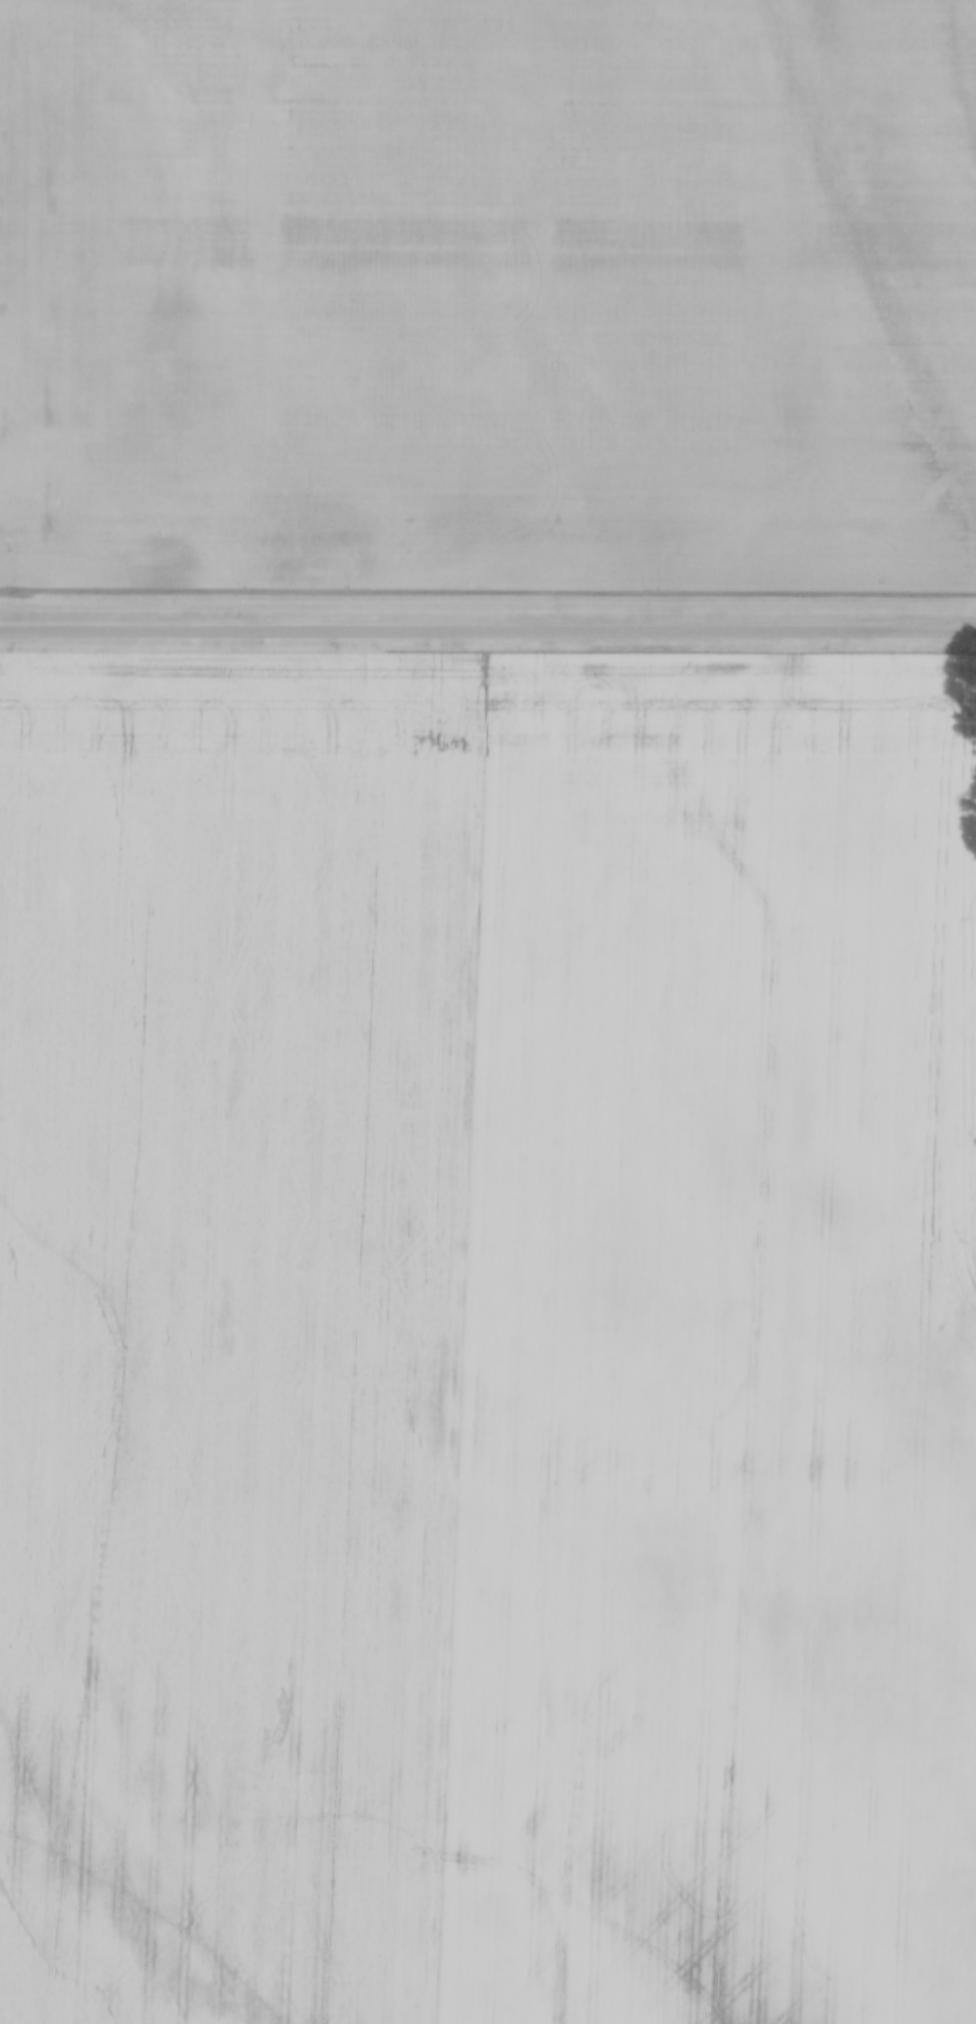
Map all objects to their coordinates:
road: (488, 630)

